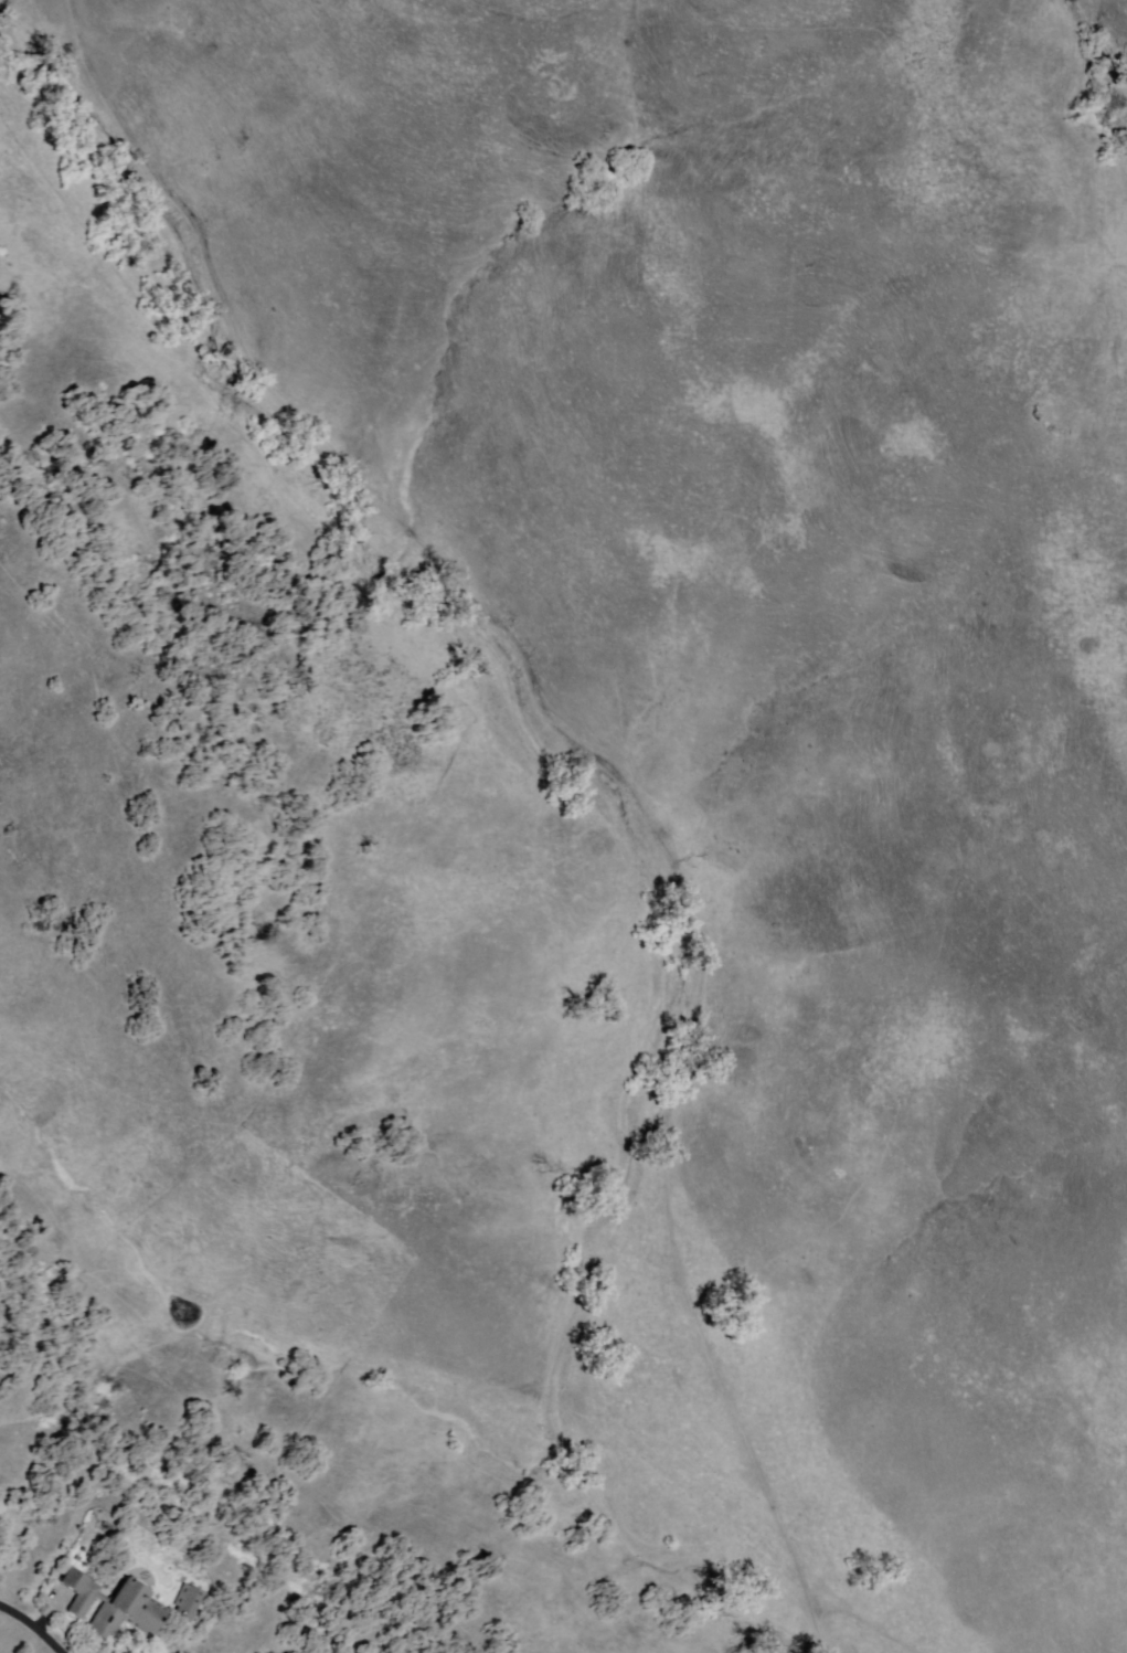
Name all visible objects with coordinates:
road: (600, 764)
building: (190, 1600)
building: (114, 1606)
road: (35, 1624)

